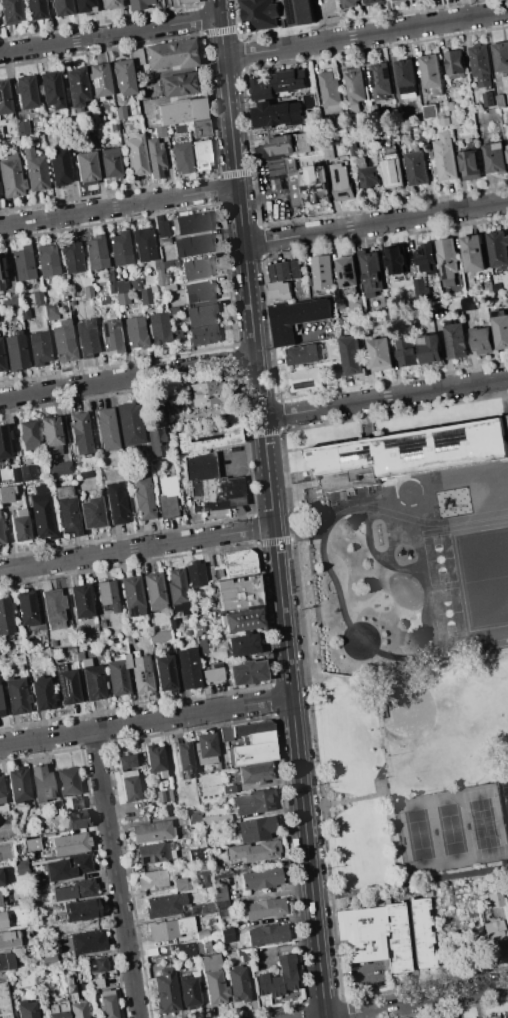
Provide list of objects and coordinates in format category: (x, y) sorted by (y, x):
building: (393, 0)
building: (373, 1)
building: (175, 2)
building: (350, 3)
building: (109, 4)
building: (137, 4)
building: (84, 6)
building: (62, 7)
road: (477, 8)
building: (36, 9)
road: (465, 9)
building: (10, 11)
building: (301, 12)
building: (263, 14)
road: (367, 34)
road: (110, 36)
building: (165, 55)
building: (501, 56)
building: (456, 63)
building: (481, 63)
building: (406, 72)
building: (432, 72)
building: (123, 76)
building: (99, 79)
building: (381, 80)
building: (278, 83)
building: (176, 85)
building: (76, 87)
building: (356, 87)
building: (51, 89)
building: (26, 91)
building: (331, 92)
building: (4, 97)
building: (311, 101)
building: (502, 101)
building: (495, 104)
building: (452, 106)
building: (197, 108)
building: (375, 109)
building: (430, 111)
building: (119, 112)
building: (173, 112)
building: (280, 113)
building: (446, 120)
building: (350, 125)
building: (113, 126)
building: (21, 128)
building: (177, 128)
building: (200, 128)
building: (160, 132)
building: (393, 134)
building: (0, 137)
building: (345, 138)
building: (282, 144)
building: (507, 146)
building: (354, 149)
building: (201, 155)
building: (136, 157)
building: (497, 157)
building: (154, 158)
building: (181, 158)
building: (447, 160)
building: (109, 162)
building: (470, 164)
building: (391, 166)
building: (59, 167)
building: (85, 168)
building: (417, 168)
building: (34, 170)
building: (368, 175)
building: (11, 177)
building: (289, 177)
building: (343, 182)
building: (316, 186)
road: (262, 196)
road: (119, 205)
building: (191, 223)
road: (377, 224)
building: (160, 227)
building: (164, 241)
building: (143, 244)
building: (192, 245)
building: (119, 248)
building: (498, 248)
building: (95, 252)
building: (473, 253)
building: (70, 256)
building: (427, 257)
building: (397, 259)
building: (47, 260)
building: (448, 260)
building: (22, 263)
building: (169, 263)
building: (197, 269)
building: (285, 270)
building: (323, 272)
building: (349, 272)
building: (372, 272)
building: (2, 273)
building: (109, 276)
building: (159, 277)
building: (311, 281)
building: (134, 284)
building: (496, 285)
building: (120, 286)
building: (489, 286)
building: (111, 287)
building: (169, 287)
building: (86, 288)
building: (422, 289)
building: (281, 290)
building: (200, 292)
building: (144, 295)
building: (63, 296)
building: (340, 296)
building: (37, 297)
building: (122, 298)
building: (103, 299)
building: (71, 303)
building: (469, 303)
building: (9, 304)
building: (357, 305)
building: (171, 311)
building: (49, 312)
building: (24, 313)
building: (203, 314)
building: (296, 318)
building: (158, 328)
building: (501, 328)
building: (135, 332)
building: (110, 334)
building: (205, 335)
building: (86, 337)
road: (295, 339)
building: (456, 339)
building: (483, 339)
building: (63, 340)
building: (38, 348)
building: (430, 348)
building: (407, 350)
building: (15, 351)
building: (304, 353)
building: (380, 353)
building: (352, 354)
building: (1, 361)
road: (128, 378)
building: (306, 378)
building: (200, 393)
road: (386, 398)
building: (130, 423)
building: (107, 429)
building: (49, 431)
building: (80, 433)
building: (27, 436)
building: (208, 437)
building: (156, 442)
building: (4, 443)
building: (408, 453)
building: (59, 468)
building: (22, 472)
building: (88, 474)
building: (211, 483)
building: (6, 493)
building: (167, 497)
building: (143, 498)
building: (115, 502)
road: (272, 508)
building: (66, 510)
building: (41, 513)
building: (91, 513)
building: (20, 526)
building: (1, 536)
park: (497, 544)
road: (136, 550)
park: (440, 558)
building: (238, 562)
building: (217, 573)
building: (194, 574)
park: (484, 575)
track: (420, 580)
building: (153, 591)
building: (177, 591)
building: (237, 593)
building: (107, 595)
building: (131, 596)
building: (80, 601)
building: (53, 608)
building: (26, 610)
park: (448, 612)
building: (6, 616)
building: (242, 620)
building: (102, 623)
building: (39, 626)
building: (197, 628)
building: (159, 636)
building: (52, 643)
building: (242, 644)
building: (202, 646)
building: (217, 653)
building: (79, 655)
building: (84, 662)
building: (187, 668)
building: (247, 672)
building: (141, 674)
building: (164, 674)
building: (117, 675)
building: (212, 675)
building: (92, 683)
building: (66, 687)
building: (41, 694)
building: (16, 695)
building: (1, 709)
road: (145, 721)
park: (437, 727)
building: (244, 729)
building: (260, 737)
building: (205, 749)
building: (253, 753)
building: (184, 757)
building: (156, 760)
building: (125, 761)
building: (255, 773)
park: (415, 776)
building: (68, 782)
building: (41, 783)
building: (17, 785)
building: (129, 785)
building: (242, 788)
building: (229, 789)
building: (211, 790)
building: (1, 794)
park: (506, 794)
building: (164, 796)
road: (503, 799)
road: (353, 800)
building: (255, 802)
building: (76, 803)
road: (319, 805)
building: (57, 806)
road: (507, 817)
building: (194, 818)
building: (76, 820)
building: (256, 829)
building: (17, 830)
building: (152, 831)
park: (450, 831)
road: (389, 833)
building: (8, 844)
building: (32, 844)
building: (69, 844)
building: (155, 852)
building: (253, 852)
building: (199, 854)
building: (3, 855)
building: (21, 867)
building: (71, 867)
road: (116, 874)
building: (204, 878)
building: (151, 879)
building: (260, 879)
building: (11, 880)
building: (1, 882)
building: (35, 882)
road: (410, 882)
building: (183, 884)
building: (85, 888)
building: (64, 893)
building: (494, 899)
building: (220, 900)
building: (0, 902)
building: (166, 908)
building: (203, 908)
building: (264, 908)
building: (81, 909)
building: (3, 920)
building: (170, 928)
building: (208, 930)
building: (362, 933)
building: (420, 933)
building: (267, 934)
building: (226, 935)
building: (397, 937)
building: (494, 938)
building: (9, 939)
building: (87, 942)
building: (62, 946)
building: (202, 946)
road: (284, 948)
building: (184, 950)
building: (150, 952)
building: (243, 958)
building: (7, 961)
building: (97, 965)
building: (27, 978)
building: (277, 978)
building: (212, 980)
building: (66, 981)
building: (96, 983)
building: (238, 984)
building: (74, 987)
road: (365, 987)
building: (188, 992)
building: (166, 993)
road: (450, 994)
building: (4, 1001)
building: (108, 1004)
building: (76, 1006)
road: (383, 1007)
building: (26, 1009)
building: (58, 1010)
road: (352, 1012)
building: (505, 1015)
building: (492, 1017)

